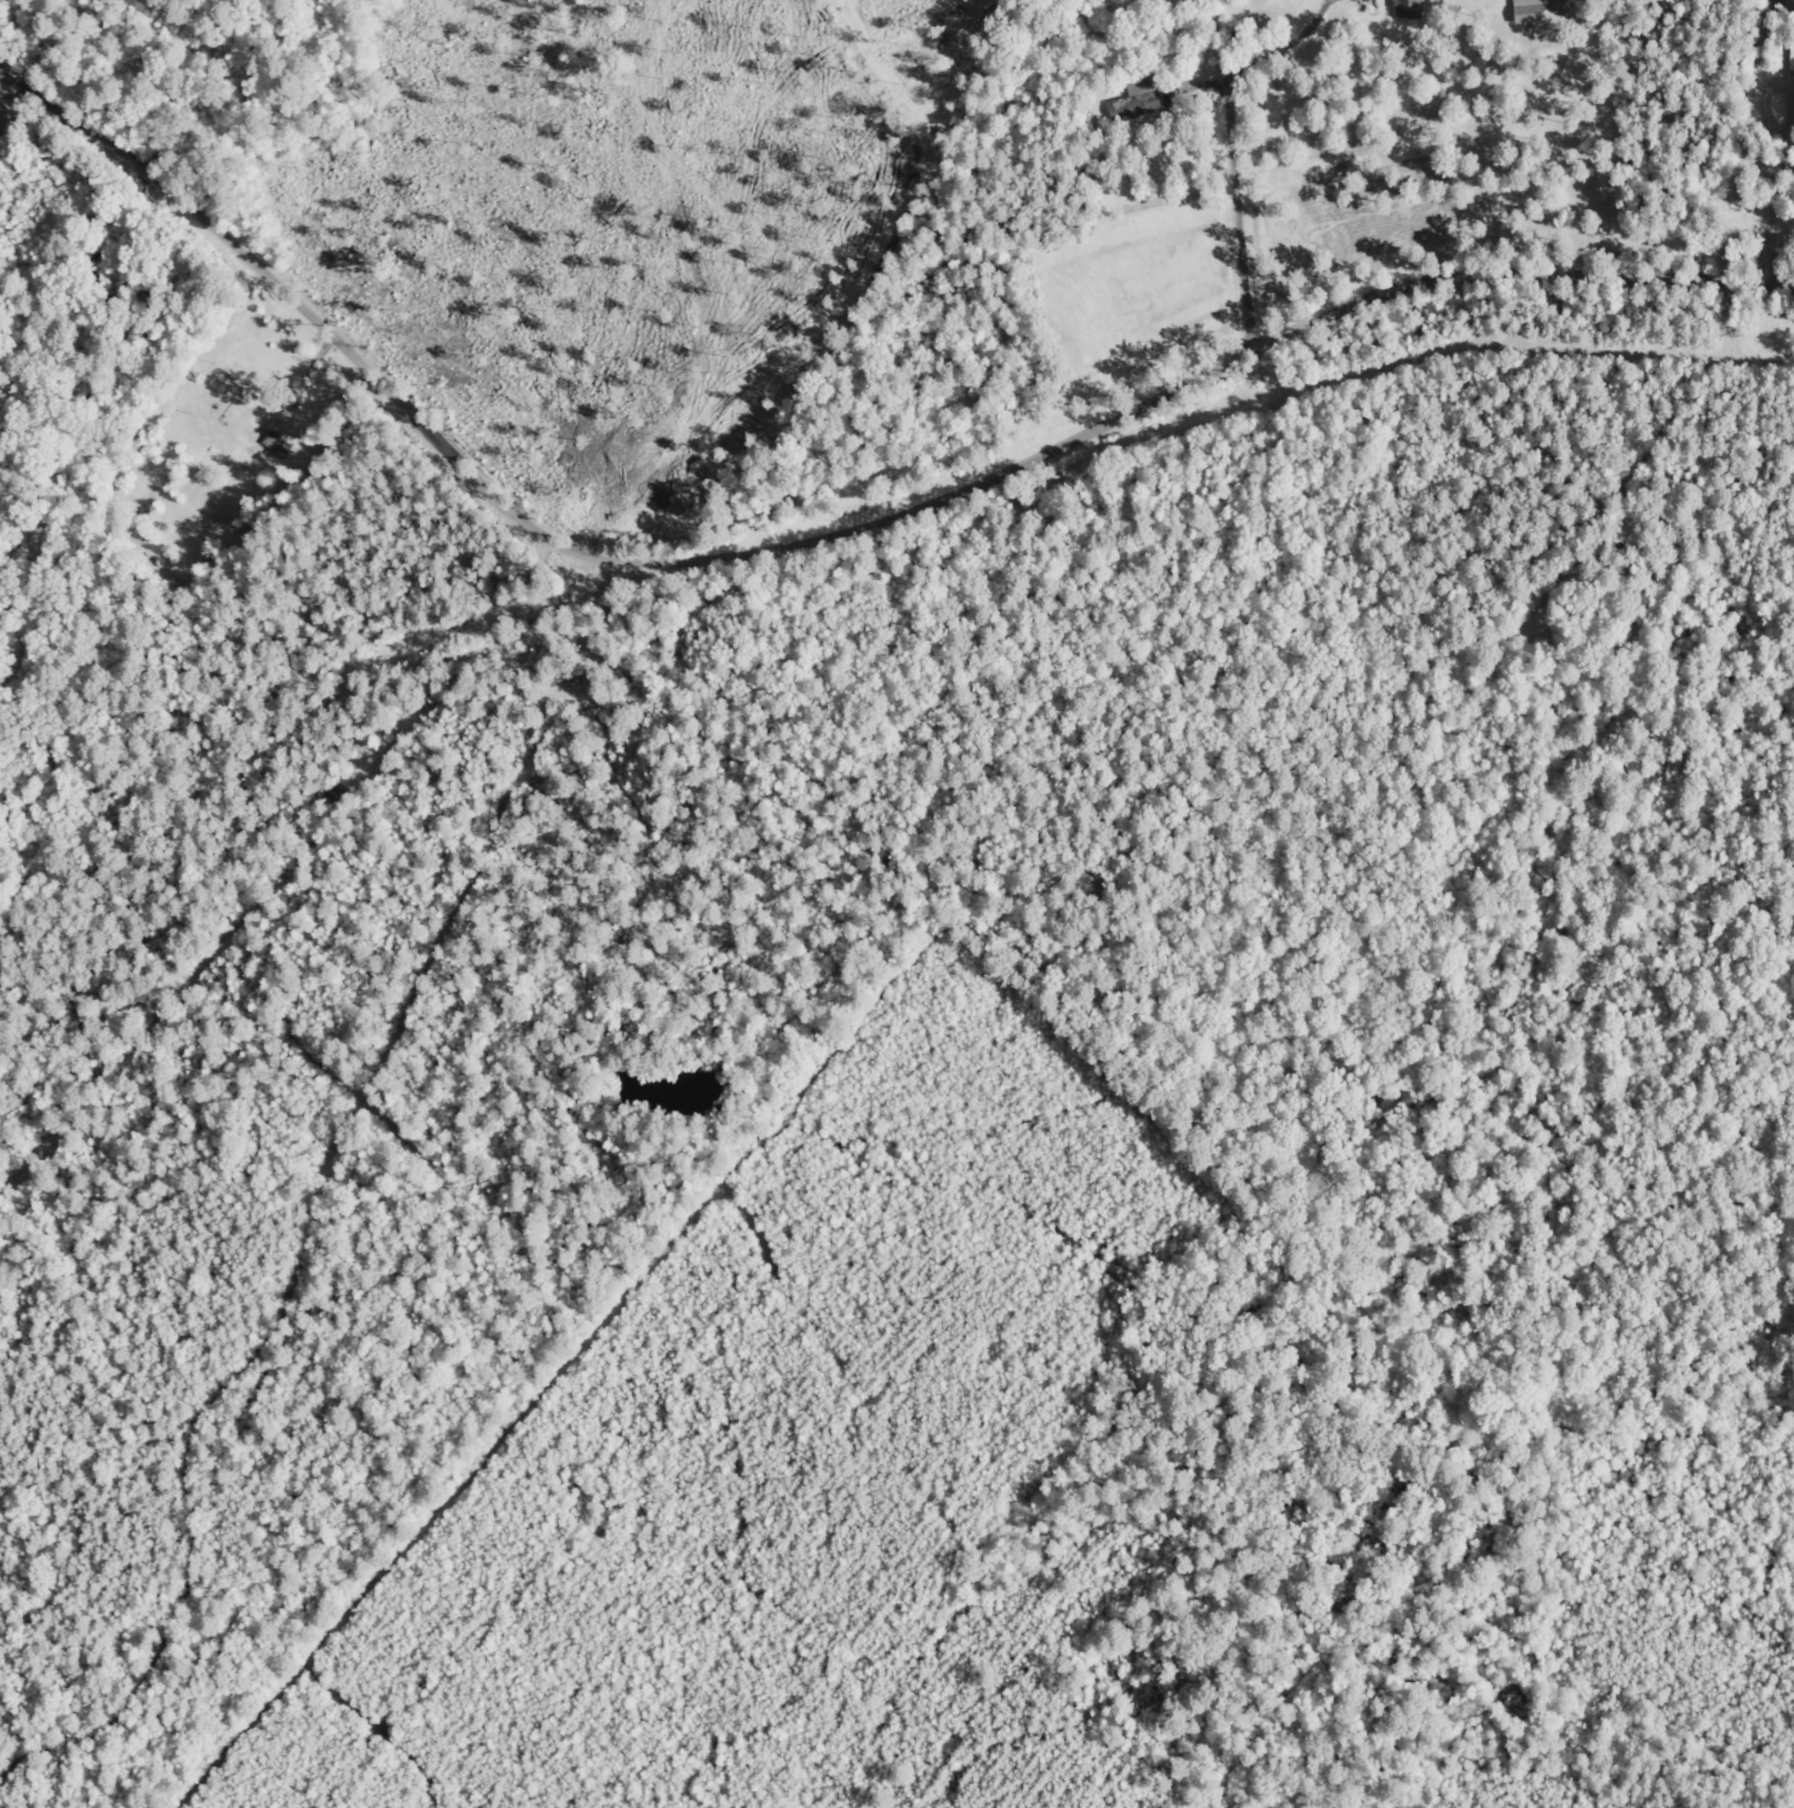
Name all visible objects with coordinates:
building: (1408, 10)
building: (1526, 11)
road: (111, 57)
building: (1134, 105)
road: (828, 529)

